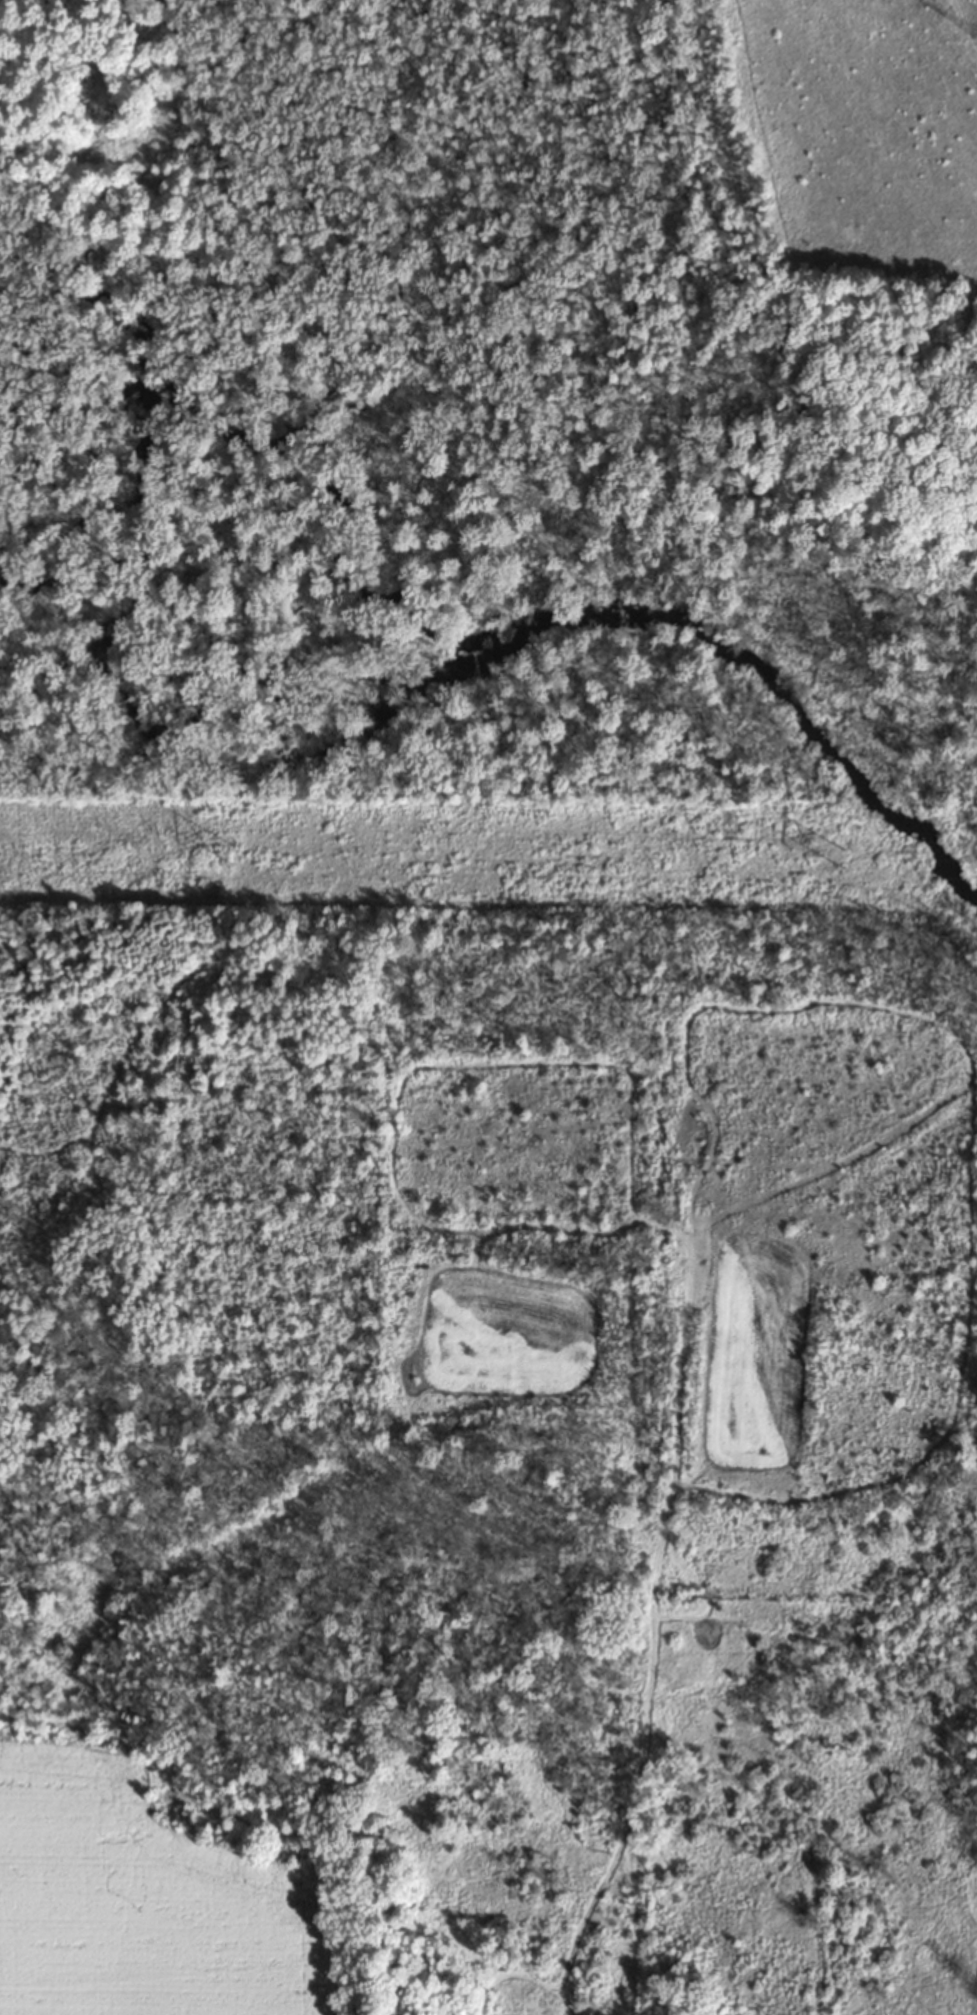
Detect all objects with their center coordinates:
river: (885, 800)
power tower: (230, 851)
power tower: (844, 857)

